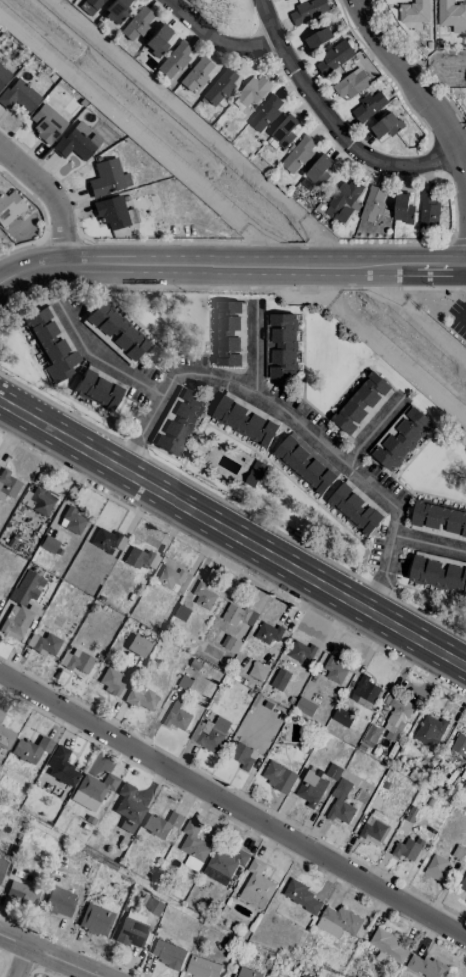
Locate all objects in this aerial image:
building: (89, 5)
building: (308, 9)
building: (115, 10)
building: (414, 11)
building: (452, 14)
building: (136, 23)
building: (318, 37)
building: (156, 40)
road: (211, 43)
building: (335, 55)
building: (174, 59)
building: (196, 74)
building: (3, 75)
building: (351, 83)
building: (219, 86)
road: (406, 91)
building: (252, 93)
building: (18, 95)
building: (369, 105)
building: (265, 112)
road: (336, 120)
building: (46, 123)
building: (386, 125)
building: (284, 130)
building: (77, 141)
building: (298, 153)
building: (315, 172)
building: (107, 177)
road: (52, 195)
building: (344, 198)
building: (373, 202)
building: (11, 208)
building: (403, 208)
building: (429, 209)
building: (111, 212)
building: (131, 215)
road: (230, 264)
road: (416, 319)
parking lot: (456, 324)
building: (114, 331)
building: (227, 332)
building: (51, 343)
building: (280, 344)
road: (384, 346)
road: (254, 349)
road: (103, 360)
building: (98, 388)
building: (362, 403)
building: (245, 418)
road: (296, 419)
building: (177, 421)
road: (372, 431)
building: (400, 436)
building: (305, 462)
building: (255, 472)
building: (8, 484)
building: (38, 499)
building: (356, 506)
building: (439, 517)
building: (71, 520)
road: (233, 533)
building: (107, 539)
road: (429, 541)
building: (48, 543)
building: (140, 558)
building: (439, 571)
building: (173, 578)
building: (203, 594)
building: (21, 604)
building: (238, 614)
building: (268, 631)
building: (44, 643)
building: (230, 643)
building: (138, 645)
building: (300, 650)
building: (76, 661)
building: (258, 670)
building: (335, 670)
building: (280, 678)
building: (110, 681)
building: (365, 691)
building: (141, 697)
building: (305, 705)
building: (395, 714)
building: (1, 715)
building: (177, 715)
building: (342, 716)
building: (429, 729)
building: (210, 732)
building: (371, 735)
building: (5, 737)
building: (459, 745)
building: (27, 753)
building: (243, 755)
building: (61, 766)
building: (333, 770)
building: (278, 775)
building: (311, 788)
building: (92, 790)
building: (341, 802)
building: (128, 808)
road: (233, 808)
building: (161, 823)
building: (375, 826)
building: (193, 845)
building: (408, 848)
building: (224, 863)
building: (2, 866)
building: (437, 866)
building: (462, 884)
building: (256, 885)
building: (21, 893)
building: (302, 896)
building: (59, 901)
building: (151, 904)
building: (95, 919)
building: (338, 920)
building: (131, 928)
building: (387, 945)
building: (167, 953)
road: (45, 960)
building: (425, 965)
road: (23, 966)
building: (203, 967)
building: (246, 972)
building: (306, 975)
building: (275, 976)

